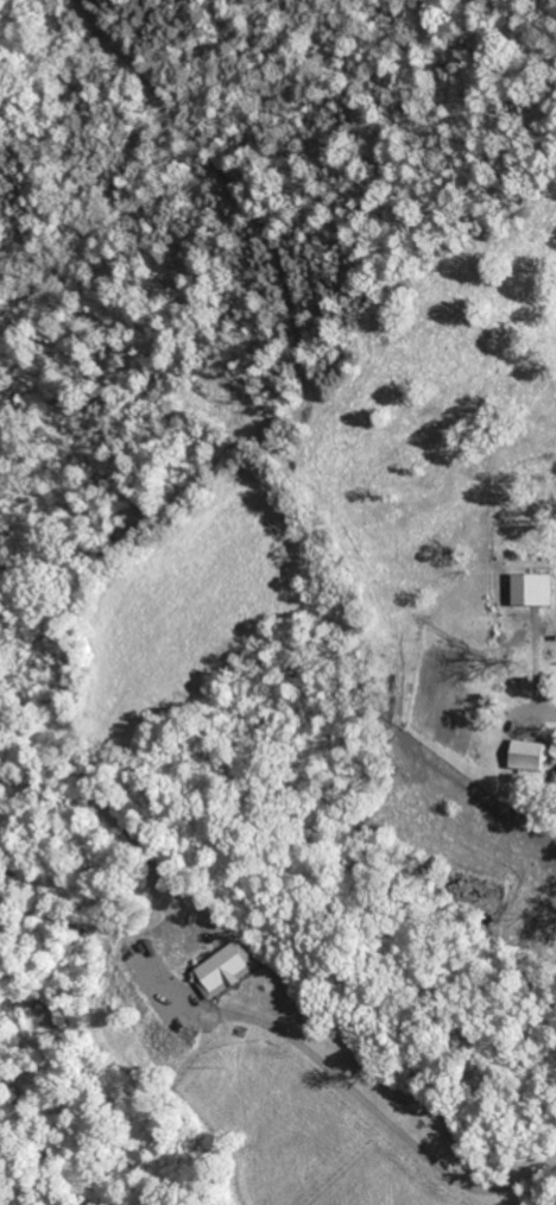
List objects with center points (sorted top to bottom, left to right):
building: (530, 588)
road: (536, 690)
building: (523, 755)
building: (221, 967)
road: (372, 1109)

